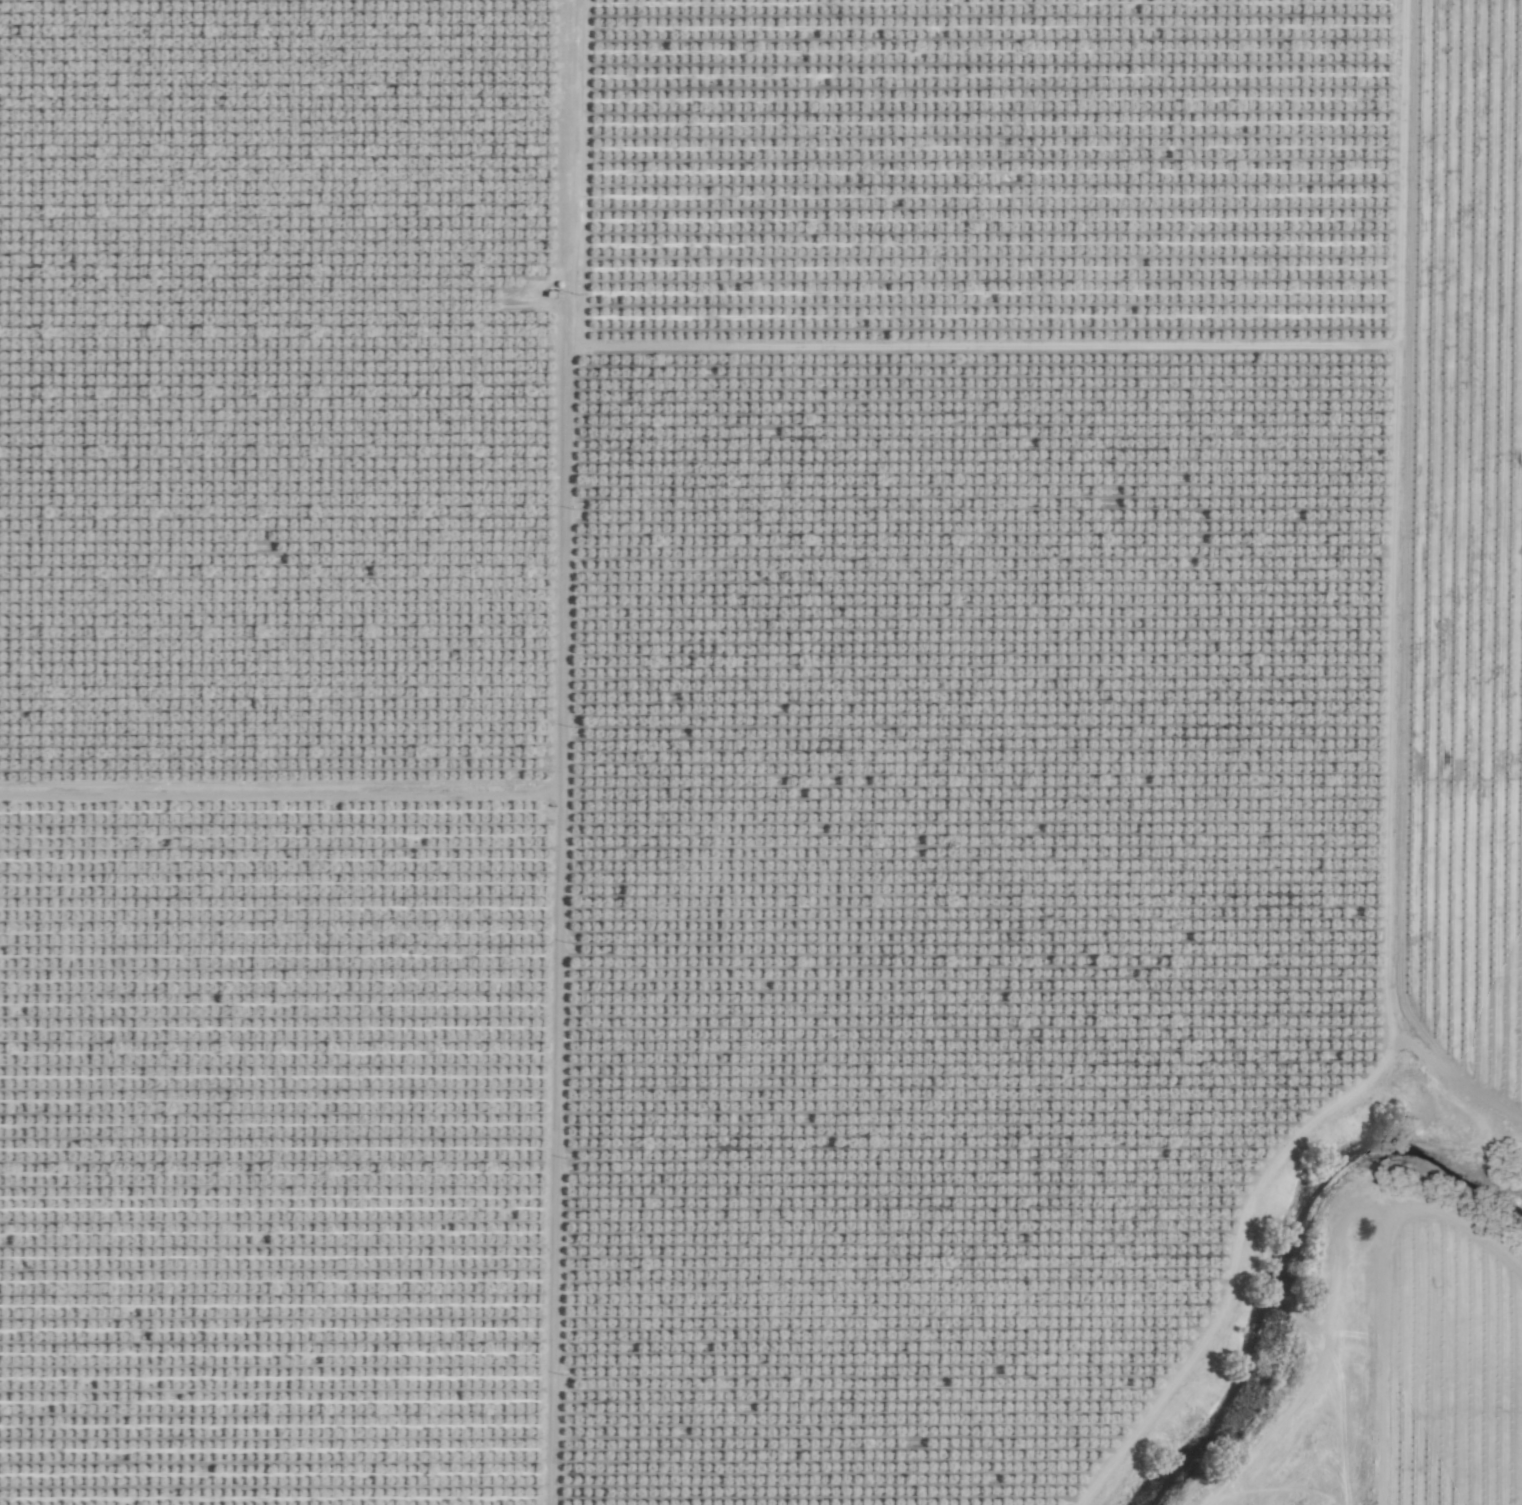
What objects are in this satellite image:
road: (1246, 1189)

